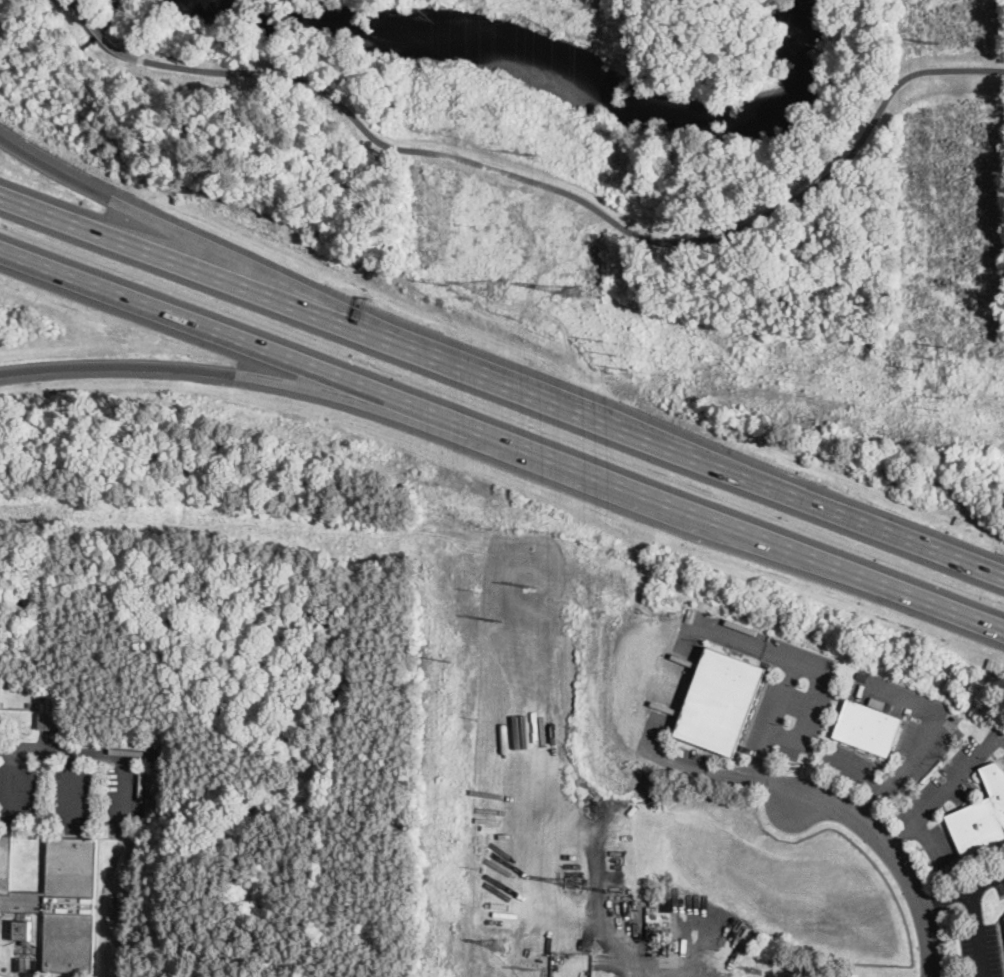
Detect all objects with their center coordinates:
power tower: (934, 43)
park: (564, 141)
power tower: (530, 154)
road: (551, 185)
power tower: (446, 283)
road: (306, 287)
power tower: (571, 287)
power tower: (493, 288)
power tower: (615, 352)
park: (814, 355)
power tower: (928, 357)
road: (501, 384)
road: (288, 388)
power tower: (941, 399)
road: (501, 439)
power tower: (532, 586)
road: (640, 643)
power tower: (449, 660)
building: (861, 675)
building: (0, 684)
building: (720, 701)
building: (877, 702)
building: (888, 706)
road: (774, 719)
building: (47, 721)
building: (868, 728)
road: (925, 744)
road: (63, 750)
road: (13, 783)
road: (73, 784)
road: (121, 789)
road: (944, 791)
building: (981, 815)
road: (896, 856)
power tower: (574, 880)
power tower: (616, 889)
road: (946, 896)
building: (60, 900)
road: (975, 913)
building: (22, 930)
building: (658, 930)
power tower: (498, 943)
road: (676, 964)
power tower: (533, 967)

